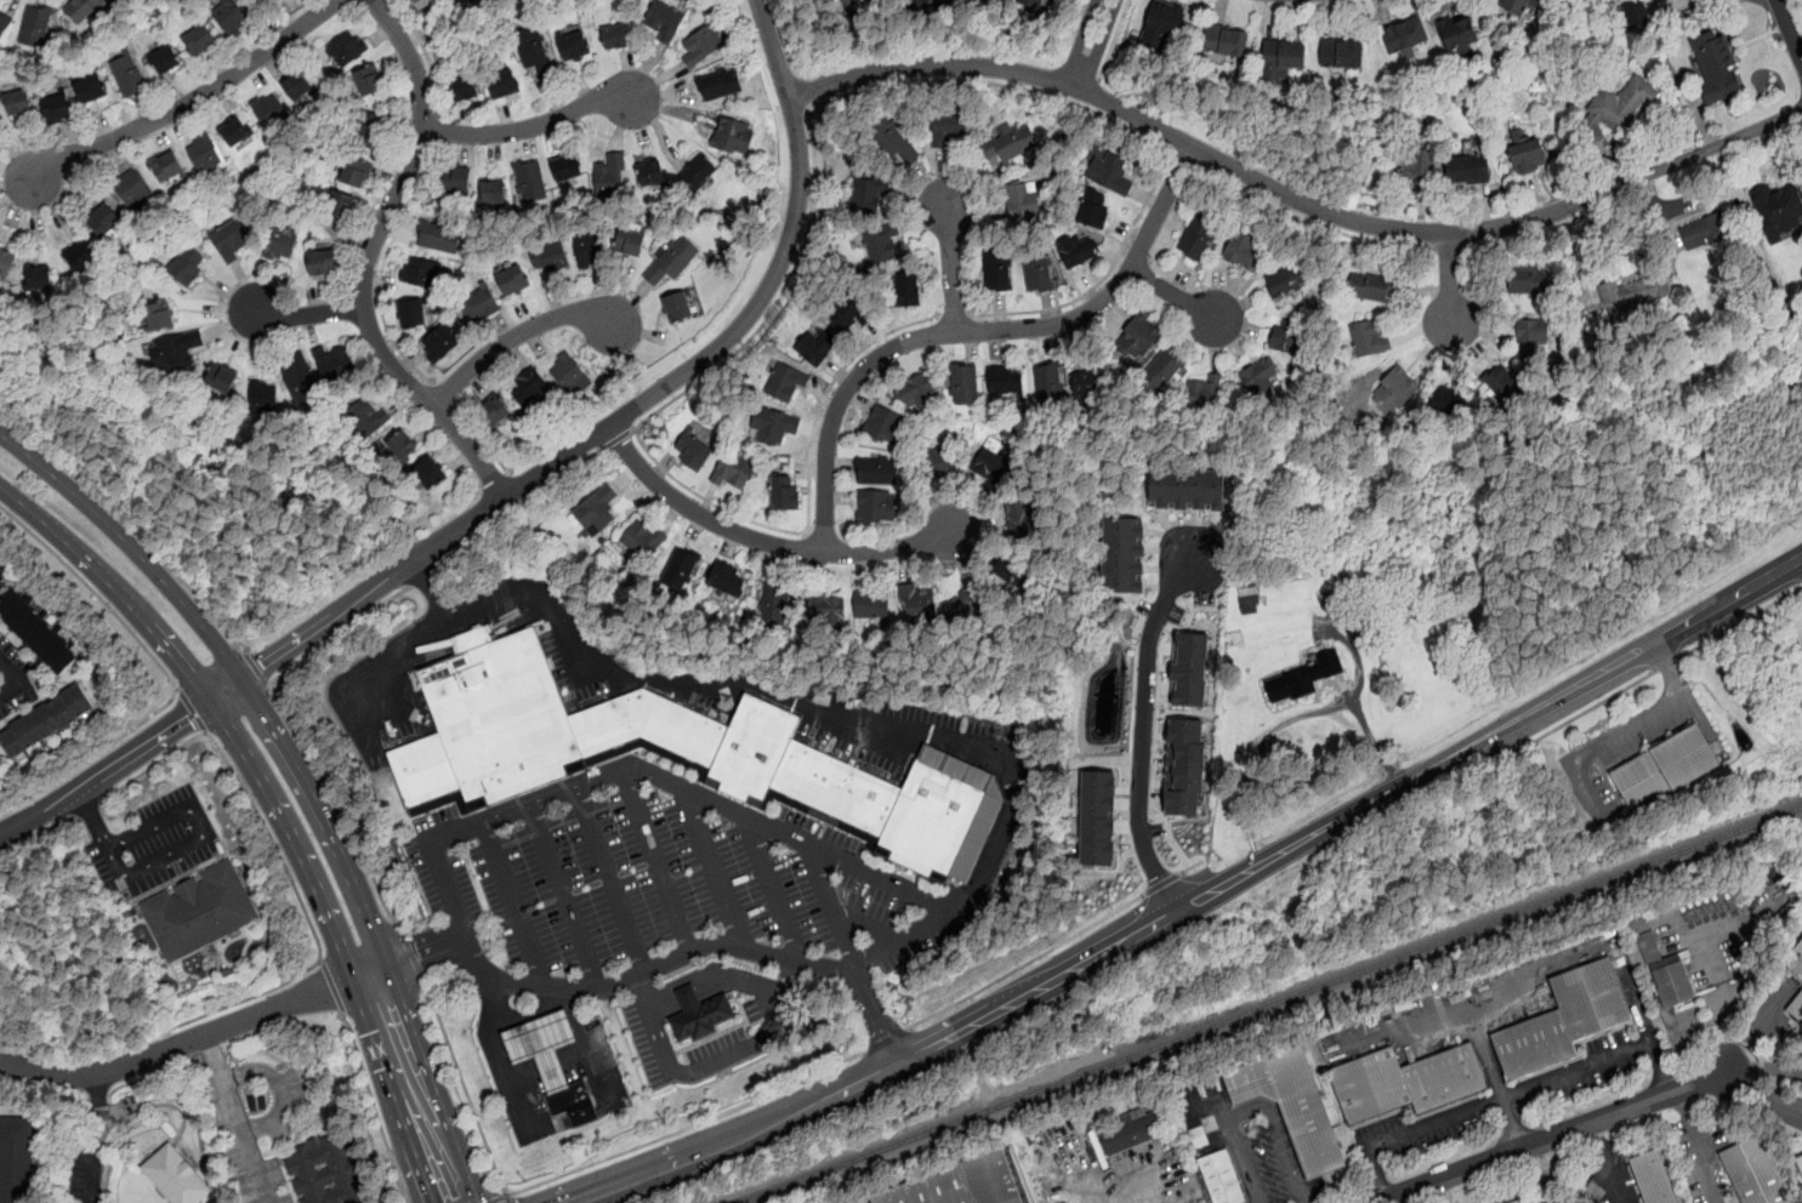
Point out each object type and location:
building: (1658, 0)
building: (866, 1)
building: (846, 2)
building: (1031, 2)
building: (424, 4)
building: (928, 4)
building: (1513, 6)
building: (81, 8)
building: (1636, 12)
building: (231, 18)
building: (664, 21)
building: (4, 24)
building: (35, 25)
building: (1161, 25)
road: (1790, 28)
building: (1404, 34)
building: (1459, 34)
building: (614, 36)
road: (786, 38)
building: (199, 40)
road: (1113, 40)
building: (1226, 41)
road: (1092, 42)
building: (701, 45)
building: (574, 46)
building: (347, 50)
building: (534, 51)
building: (1342, 52)
road: (426, 55)
building: (1281, 57)
building: (165, 59)
building: (1716, 64)
building: (129, 74)
building: (368, 82)
building: (504, 82)
building: (720, 84)
building: (464, 86)
building: (90, 87)
building: (297, 87)
road: (805, 90)
road: (1092, 95)
building: (18, 101)
road: (188, 103)
building: (56, 106)
building: (1619, 106)
building: (269, 110)
road: (1125, 113)
road: (533, 126)
building: (371, 130)
road: (439, 130)
building: (949, 130)
road: (1129, 130)
building: (234, 131)
building: (728, 132)
building: (893, 142)
building: (1010, 142)
building: (204, 153)
building: (1528, 156)
road: (1184, 159)
building: (166, 165)
building: (567, 166)
building: (1416, 166)
building: (1467, 169)
building: (698, 170)
building: (356, 172)
building: (650, 172)
building: (609, 175)
building: (1113, 175)
building: (456, 179)
building: (530, 181)
road: (1628, 182)
building: (131, 188)
building: (868, 189)
building: (493, 192)
building: (1022, 201)
building: (339, 203)
building: (1778, 209)
building: (1092, 210)
building: (104, 218)
road: (1313, 222)
building: (1704, 229)
building: (438, 236)
building: (1195, 238)
building: (231, 239)
road: (1516, 240)
building: (280, 243)
building: (629, 243)
building: (880, 244)
building: (589, 249)
road: (1448, 249)
building: (1076, 251)
building: (1244, 251)
building: (81, 256)
building: (550, 257)
road: (370, 260)
building: (672, 261)
building: (323, 262)
building: (6, 264)
road: (951, 264)
building: (188, 266)
road: (382, 267)
building: (420, 270)
building: (996, 270)
building: (1038, 272)
building: (1285, 276)
building: (38, 279)
building: (513, 280)
road: (1449, 280)
building: (1528, 280)
building: (1375, 286)
building: (905, 289)
building: (1637, 292)
road: (1178, 297)
building: (680, 307)
building: (482, 308)
building: (411, 312)
building: (158, 314)
road: (308, 314)
building: (848, 314)
road: (957, 314)
road: (974, 331)
road: (518, 333)
building: (1285, 333)
building: (1531, 335)
building: (1139, 336)
building: (1369, 337)
building: (439, 343)
building: (817, 346)
building: (175, 349)
building: (334, 361)
building: (1161, 370)
building: (567, 374)
building: (1258, 376)
building: (220, 377)
building: (1005, 378)
building: (300, 381)
building: (1088, 382)
building: (785, 383)
building: (1503, 383)
building: (528, 384)
building: (1047, 384)
building: (962, 386)
building: (1204, 388)
building: (1395, 388)
building: (915, 392)
road: (443, 394)
building: (263, 397)
building: (1448, 400)
road: (638, 406)
building: (493, 414)
building: (368, 416)
building: (885, 426)
building: (772, 427)
road: (632, 429)
road: (615, 439)
road: (483, 440)
building: (400, 446)
building: (692, 450)
building: (937, 463)
building: (991, 466)
road: (661, 467)
building: (876, 471)
building: (733, 472)
building: (428, 473)
road: (518, 485)
building: (1187, 489)
building: (784, 492)
building: (876, 504)
road: (521, 506)
building: (596, 511)
building: (1024, 515)
road: (131, 523)
building: (639, 541)
road: (764, 541)
building: (1120, 554)
building: (680, 569)
building: (1013, 571)
road: (425, 574)
building: (726, 580)
building: (1249, 599)
building: (774, 600)
building: (970, 601)
building: (916, 603)
building: (870, 605)
building: (828, 611)
road: (1739, 622)
building: (38, 633)
road: (339, 634)
road: (1357, 650)
road: (388, 658)
road: (1665, 663)
road: (256, 667)
road: (1667, 667)
building: (1188, 668)
road: (166, 671)
road: (10, 677)
building: (1302, 677)
road: (757, 688)
road: (191, 708)
road: (1579, 714)
road: (1287, 720)
building: (46, 722)
road: (1142, 731)
road: (1155, 735)
road: (1597, 745)
building: (489, 757)
road: (125, 760)
road: (150, 764)
building: (1183, 765)
building: (1665, 770)
road: (302, 776)
road: (575, 789)
road: (337, 803)
road: (279, 804)
road: (87, 810)
building: (1095, 816)
road: (93, 817)
road: (166, 817)
road: (659, 862)
road: (150, 865)
road: (1193, 866)
road: (715, 870)
road: (613, 880)
road: (1161, 883)
parking lot: (660, 885)
road: (775, 889)
road: (565, 896)
road: (937, 899)
road: (1196, 901)
road: (515, 903)
road: (835, 905)
building: (203, 911)
road: (306, 914)
road: (411, 954)
road: (320, 960)
road: (1025, 963)
building: (1797, 965)
road: (732, 976)
building: (1671, 979)
road: (614, 984)
road: (647, 987)
road: (332, 988)
railway: (1269, 1005)
building: (1796, 1007)
building: (699, 1013)
road: (531, 1014)
road: (879, 1014)
building: (1563, 1021)
road: (772, 1024)
road: (194, 1036)
parking lot: (650, 1038)
road: (886, 1039)
gas station: (544, 1044)
road: (586, 1045)
road: (500, 1056)
building: (551, 1064)
road: (1768, 1070)
road: (672, 1071)
building: (1406, 1079)
road: (279, 1088)
road: (464, 1088)
road: (1508, 1094)
road: (1764, 1094)
building: (1291, 1105)
road: (374, 1106)
road: (1256, 1110)
road: (238, 1117)
road: (1512, 1122)
road: (686, 1128)
building: (1131, 1135)
road: (1554, 1135)
road: (95, 1138)
road: (1701, 1145)
building: (16, 1158)
building: (1800, 1162)
road: (1604, 1163)
building: (326, 1170)
building: (1753, 1171)
building: (175, 1176)
building: (1654, 1176)
building: (1221, 1179)
building: (955, 1182)
road: (1465, 1187)
road: (1129, 1190)
road: (495, 1198)
road: (507, 1198)
building: (1533, 1199)

